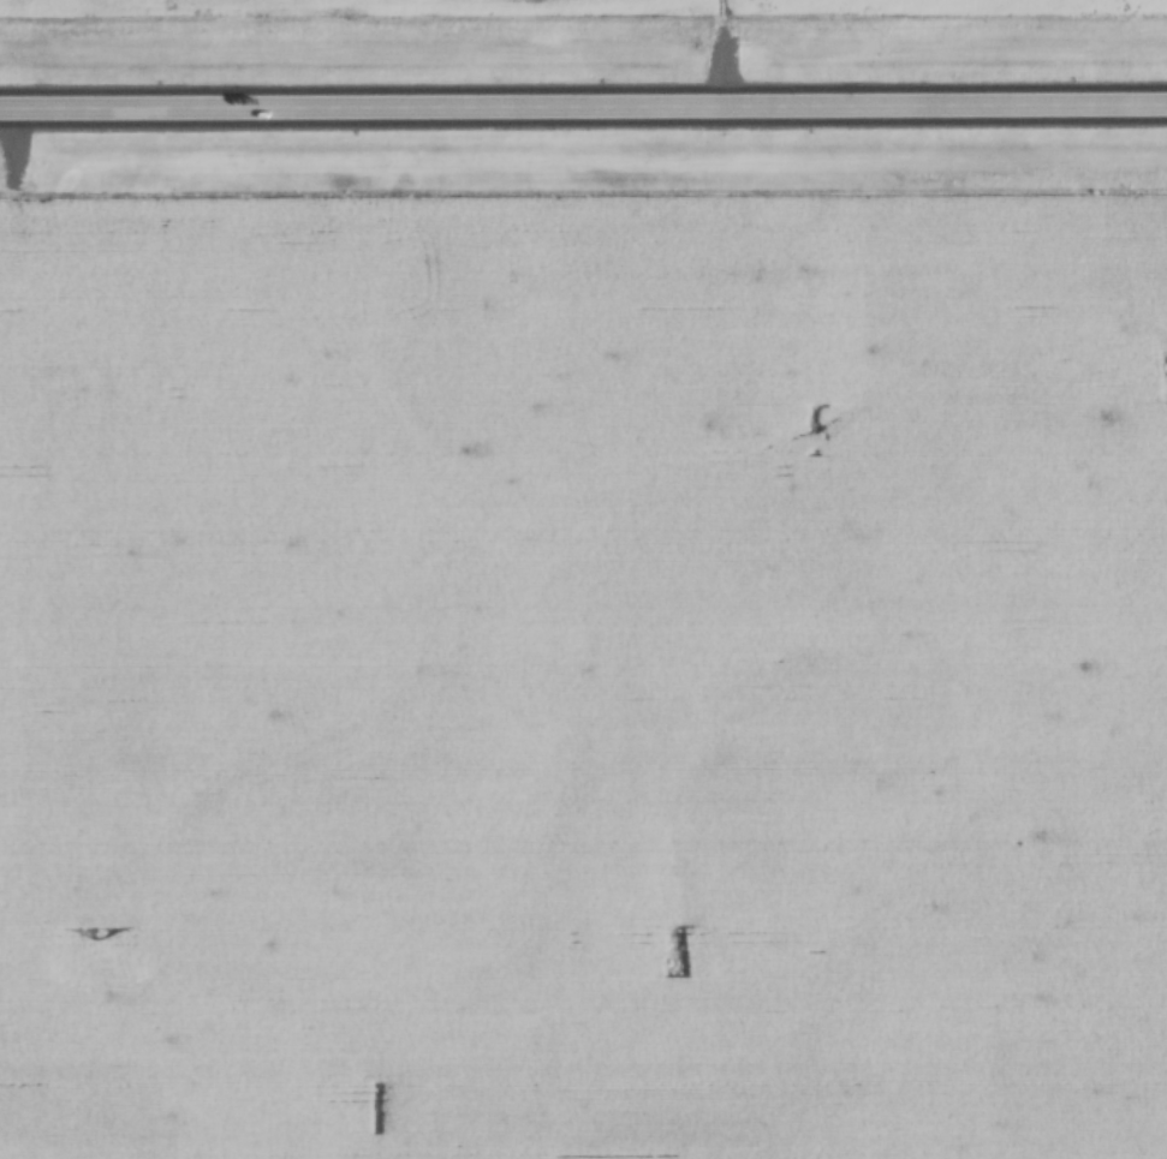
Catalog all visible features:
road: (583, 104)

